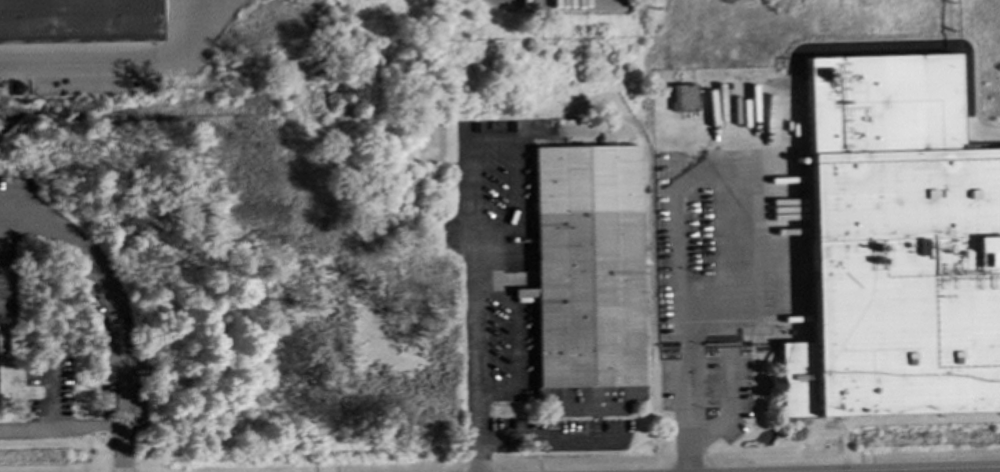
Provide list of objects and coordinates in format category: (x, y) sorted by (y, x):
road: (121, 54)
building: (682, 97)
road: (716, 175)
building: (894, 246)
building: (585, 277)
road: (106, 285)
road: (474, 314)
road: (684, 380)
road: (82, 428)
road: (550, 440)

